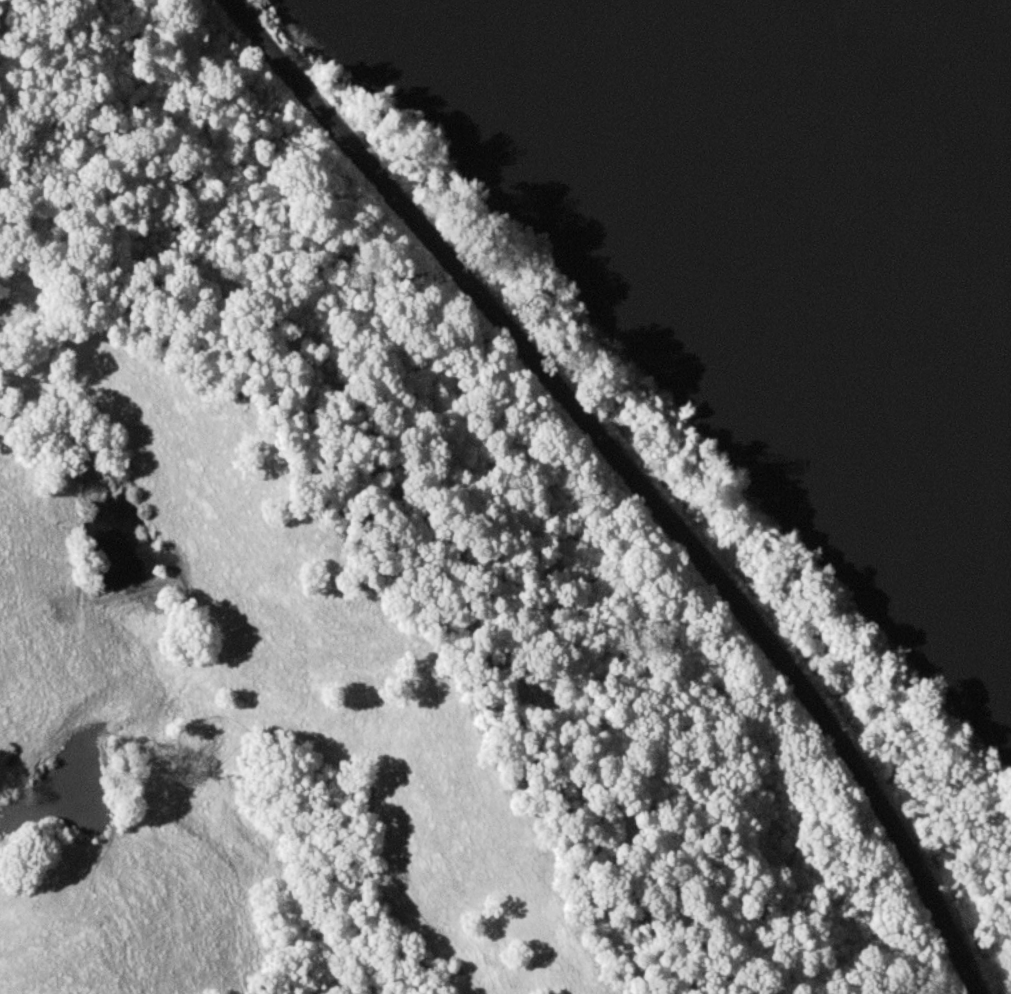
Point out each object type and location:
river: (825, 193)
railway: (630, 476)

